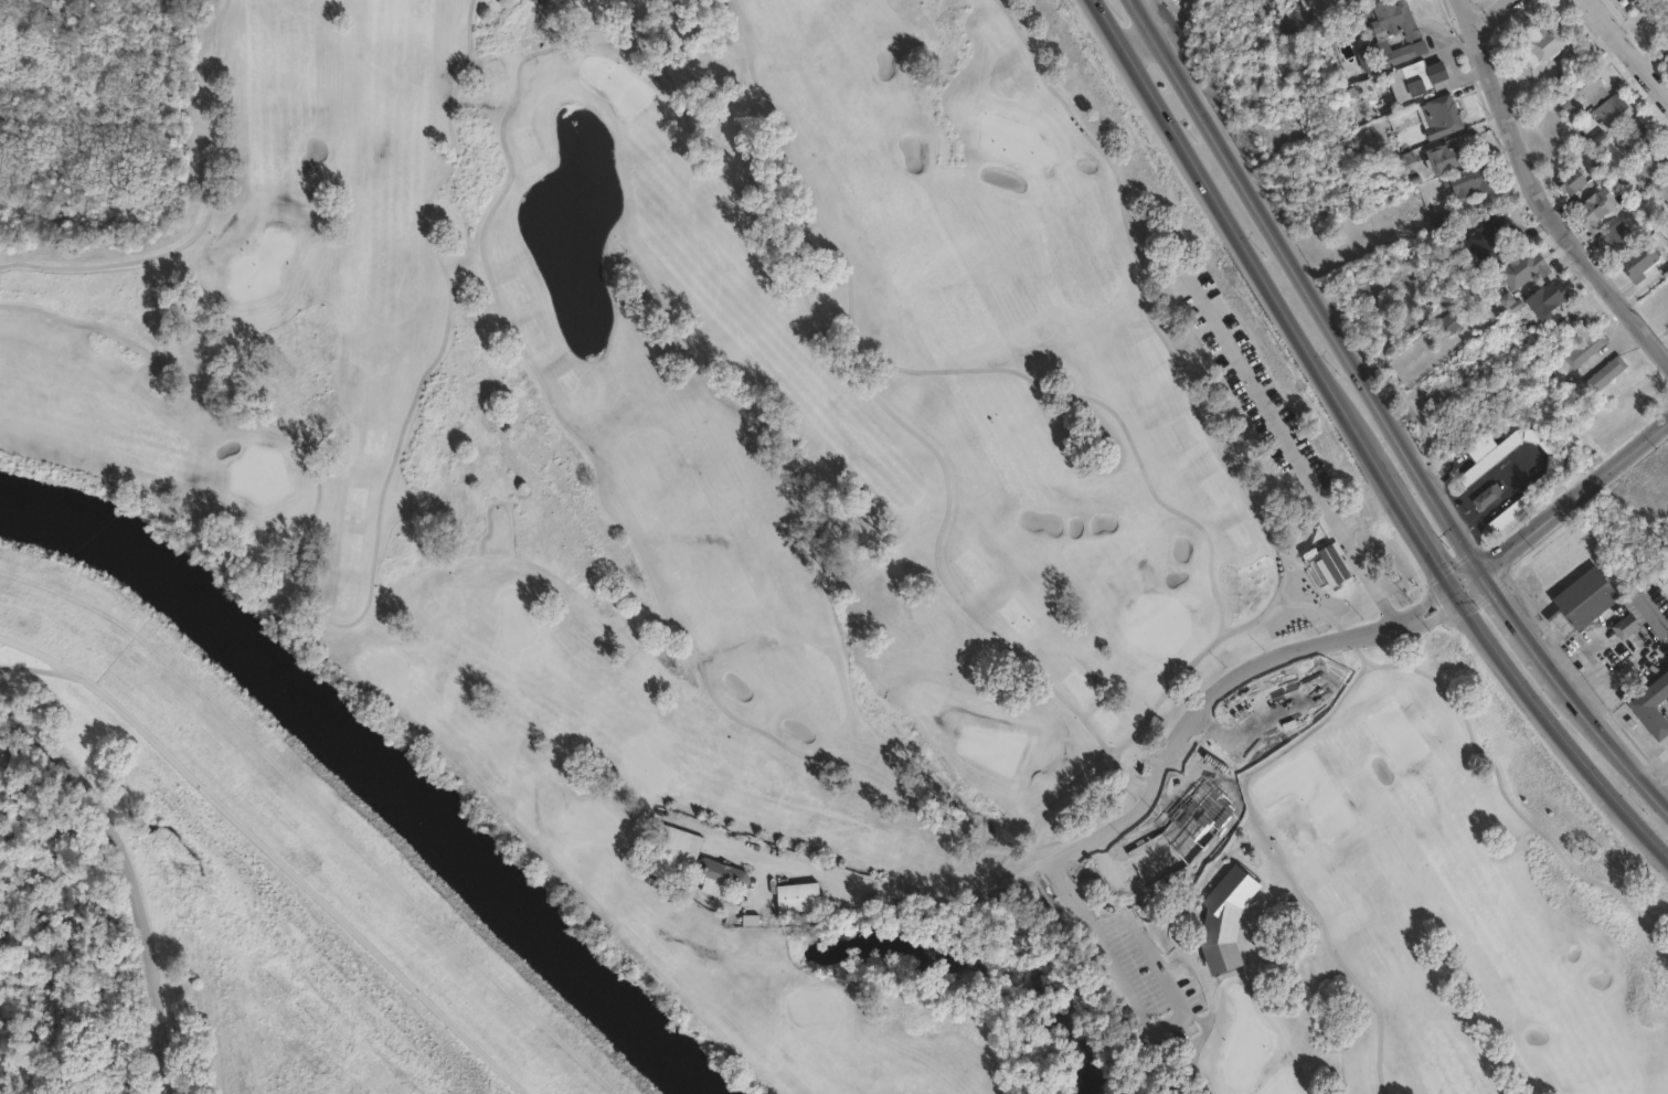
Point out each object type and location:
building: (1616, 0)
road: (1485, 15)
road: (1135, 36)
building: (1392, 36)
building: (1548, 43)
road: (1625, 55)
building: (1417, 81)
building: (1592, 86)
building: (1566, 108)
building: (1612, 110)
building: (1444, 118)
building: (1633, 135)
building: (1446, 159)
building: (1651, 163)
building: (1473, 182)
building: (1573, 183)
road: (1540, 185)
building: (1661, 192)
building: (1597, 210)
building: (1439, 222)
road: (1230, 227)
building: (1618, 238)
building: (1487, 244)
building: (1642, 264)
building: (1520, 274)
road: (1300, 285)
building: (1544, 300)
building: (1451, 322)
building: (1589, 351)
building: (1609, 375)
road: (238, 408)
building: (1603, 426)
road: (1299, 443)
building: (1542, 484)
building: (1487, 498)
road: (1559, 507)
road: (1410, 521)
park: (843, 548)
traffic signals: (1479, 569)
traffic signals: (1452, 591)
building: (1587, 598)
building: (1627, 626)
road: (1521, 633)
road: (34, 661)
road: (1506, 670)
road: (1217, 692)
building: (1654, 707)
building: (0, 742)
road: (1617, 754)
building: (17, 762)
river: (375, 765)
road: (1654, 767)
building: (8, 778)
road: (1616, 804)
building: (1186, 831)
road: (278, 847)
building: (673, 853)
road: (128, 877)
building: (722, 878)
road: (852, 878)
building: (800, 897)
road: (1106, 917)
building: (1229, 918)
road: (1148, 946)
road: (1130, 1008)

